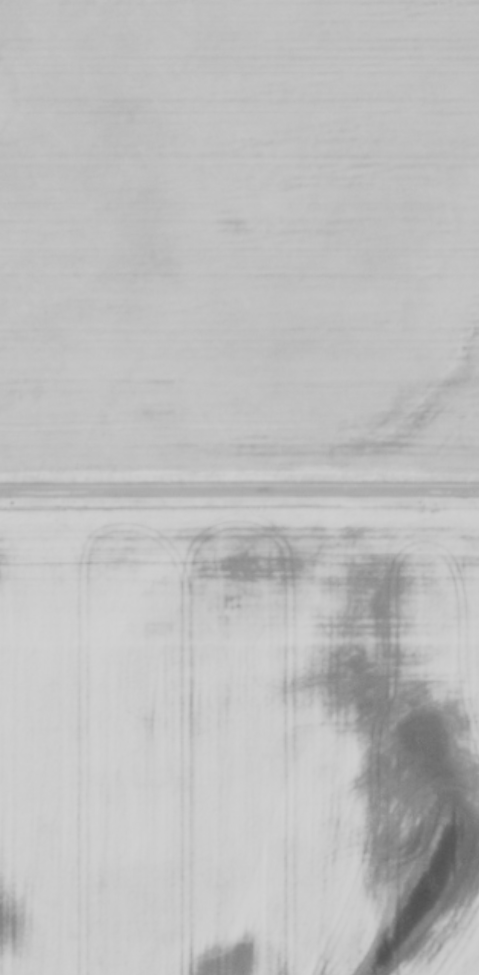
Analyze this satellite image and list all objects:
road: (239, 486)

